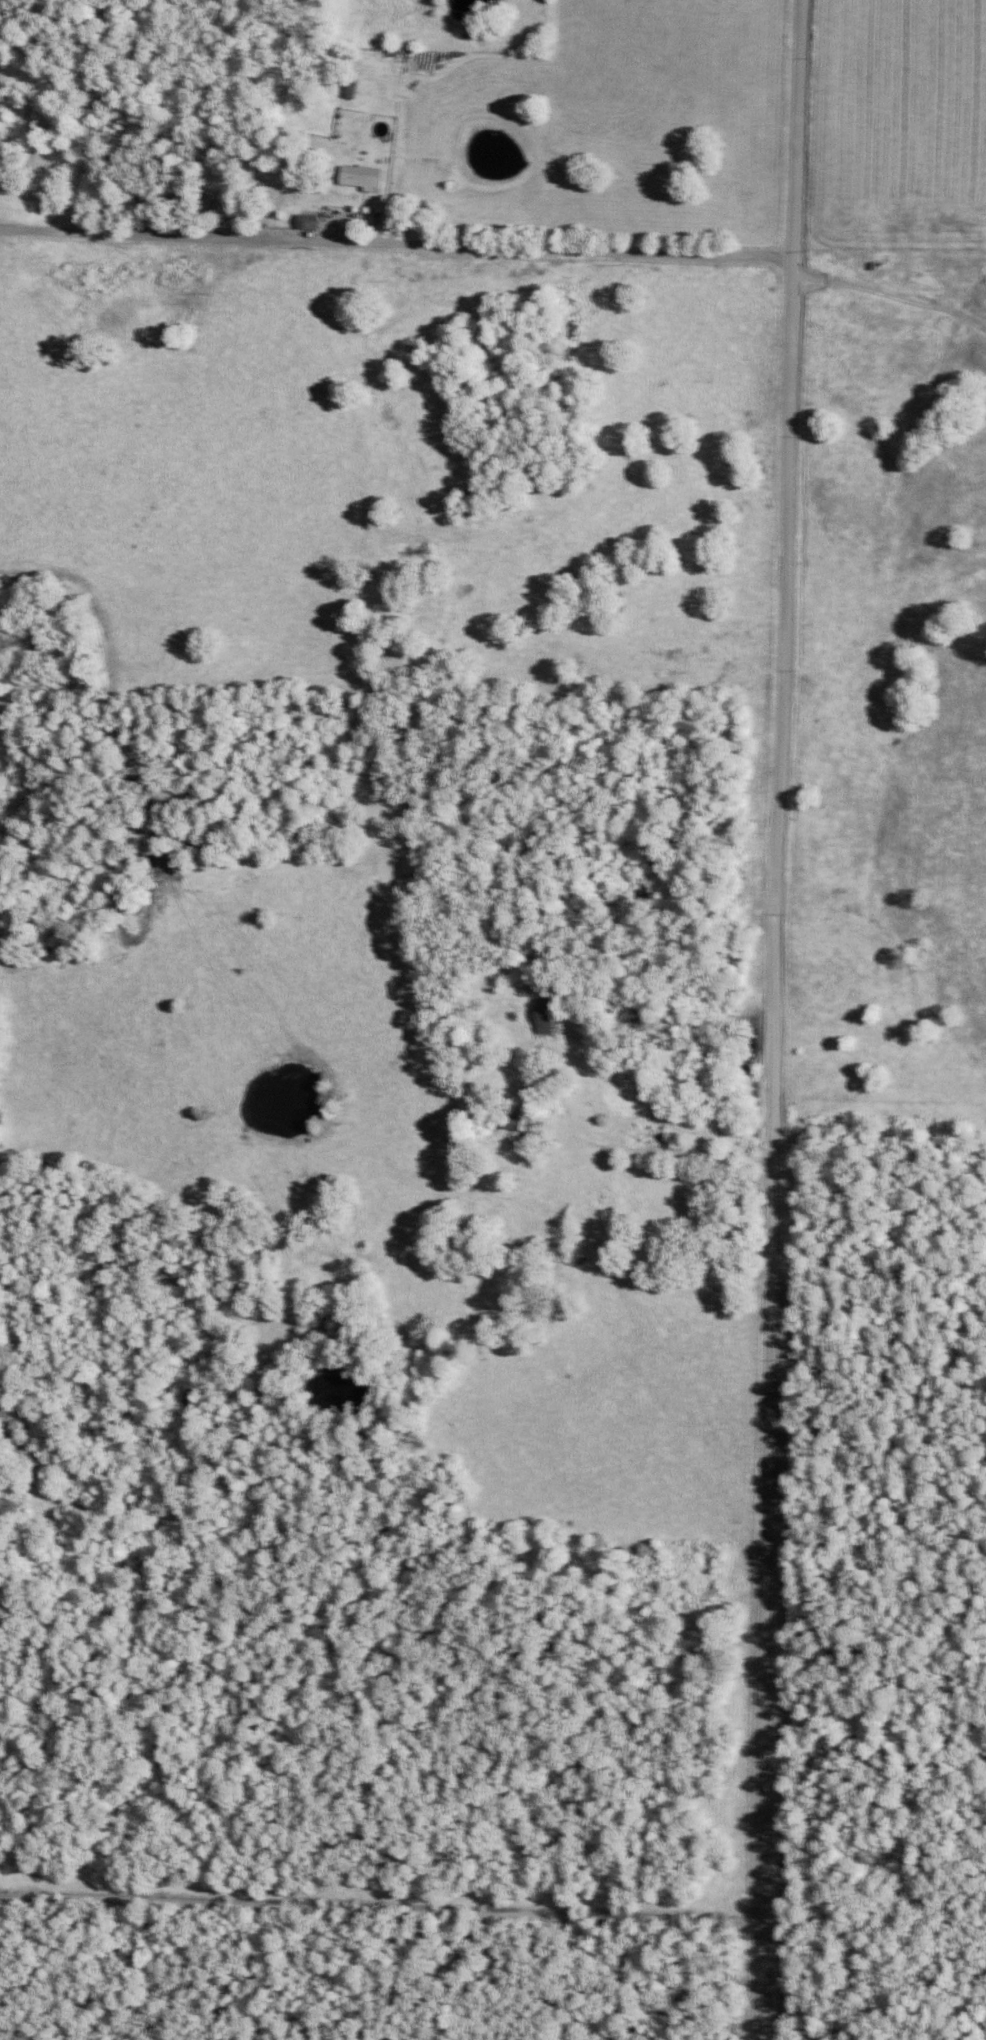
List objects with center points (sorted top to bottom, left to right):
building: (357, 183)
building: (307, 227)
road: (394, 247)
road: (773, 1019)
building: (546, 1021)

